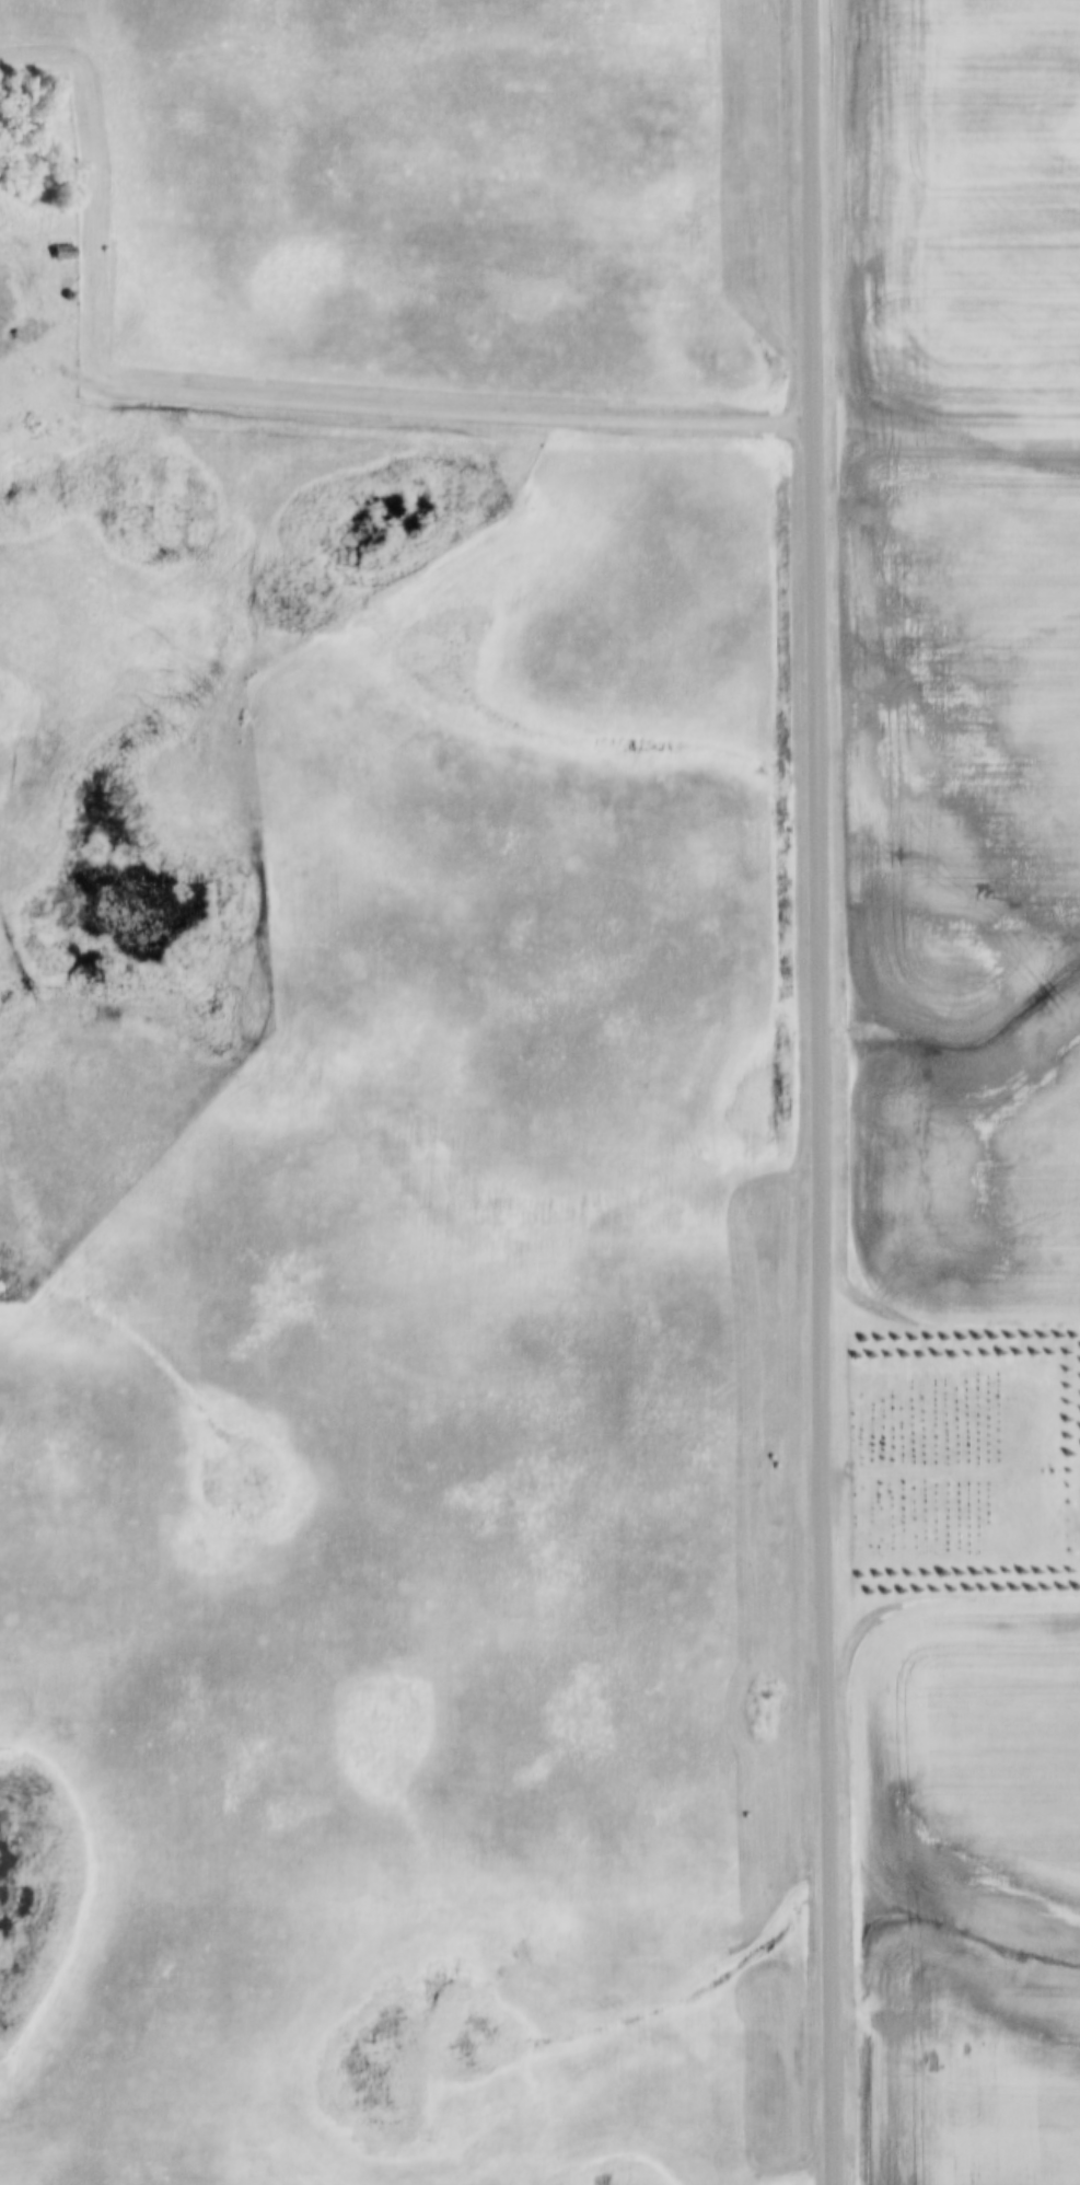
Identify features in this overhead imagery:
road: (403, 409)
road: (823, 1091)
park: (950, 1460)

